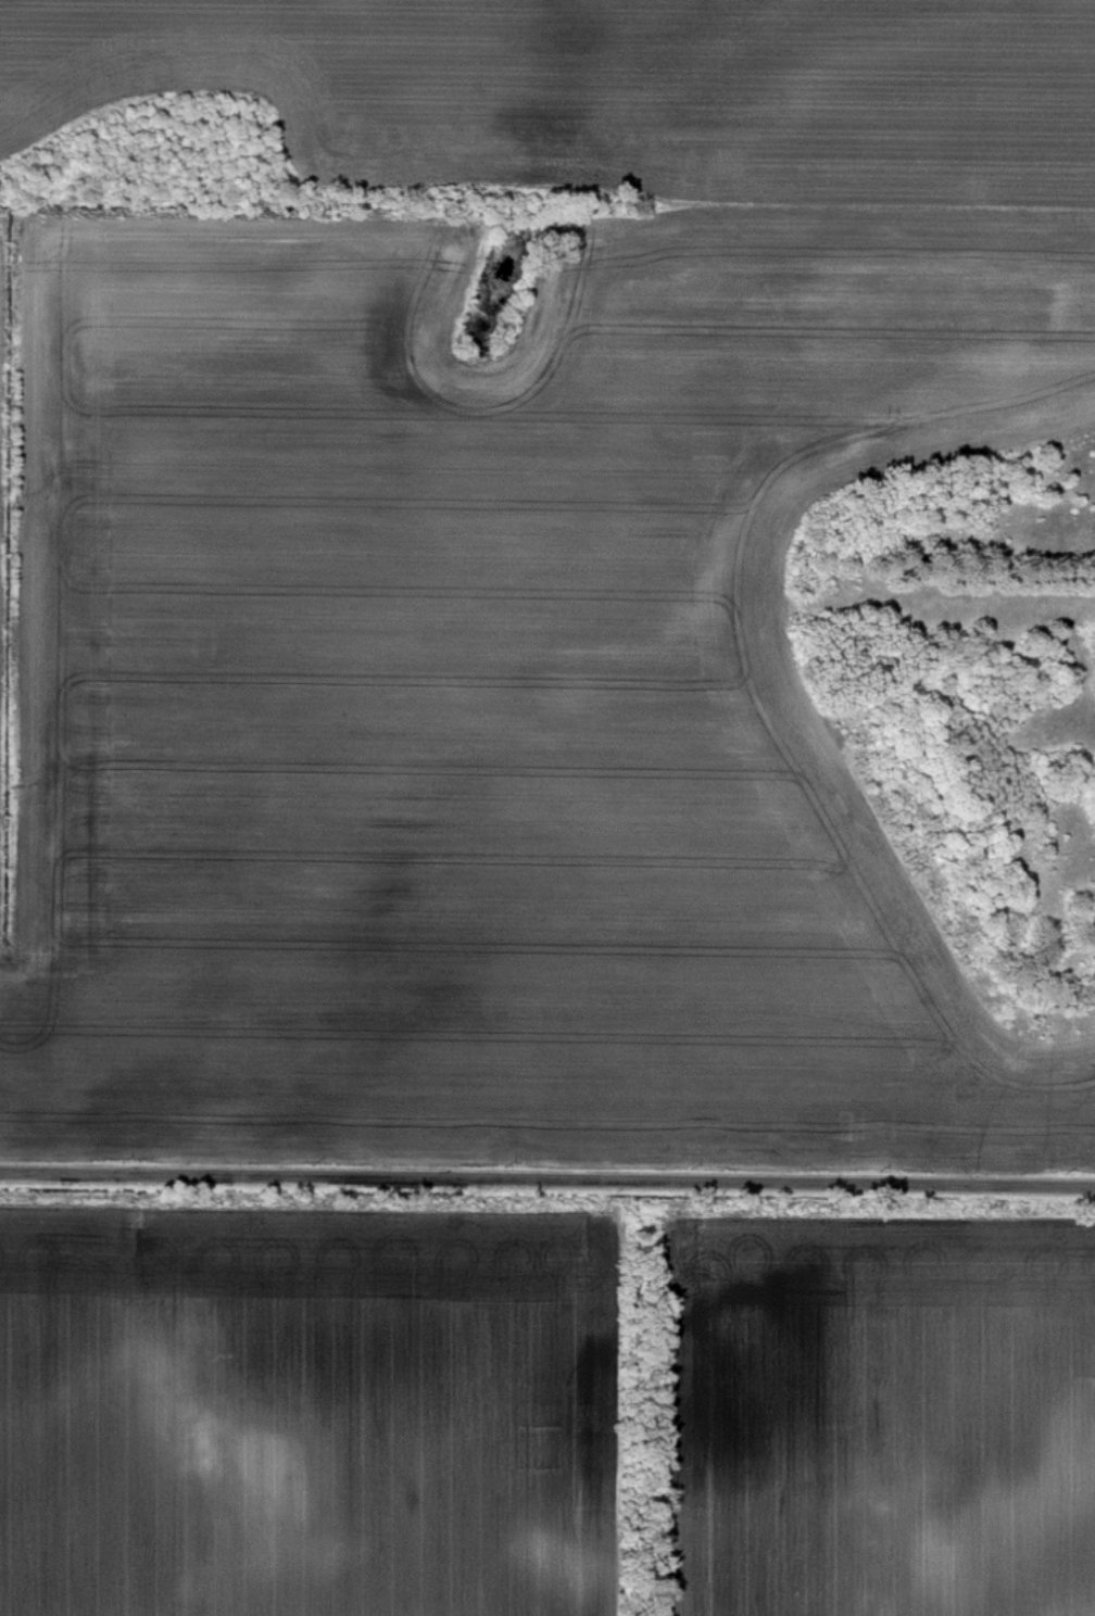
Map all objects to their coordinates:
road: (547, 1173)

